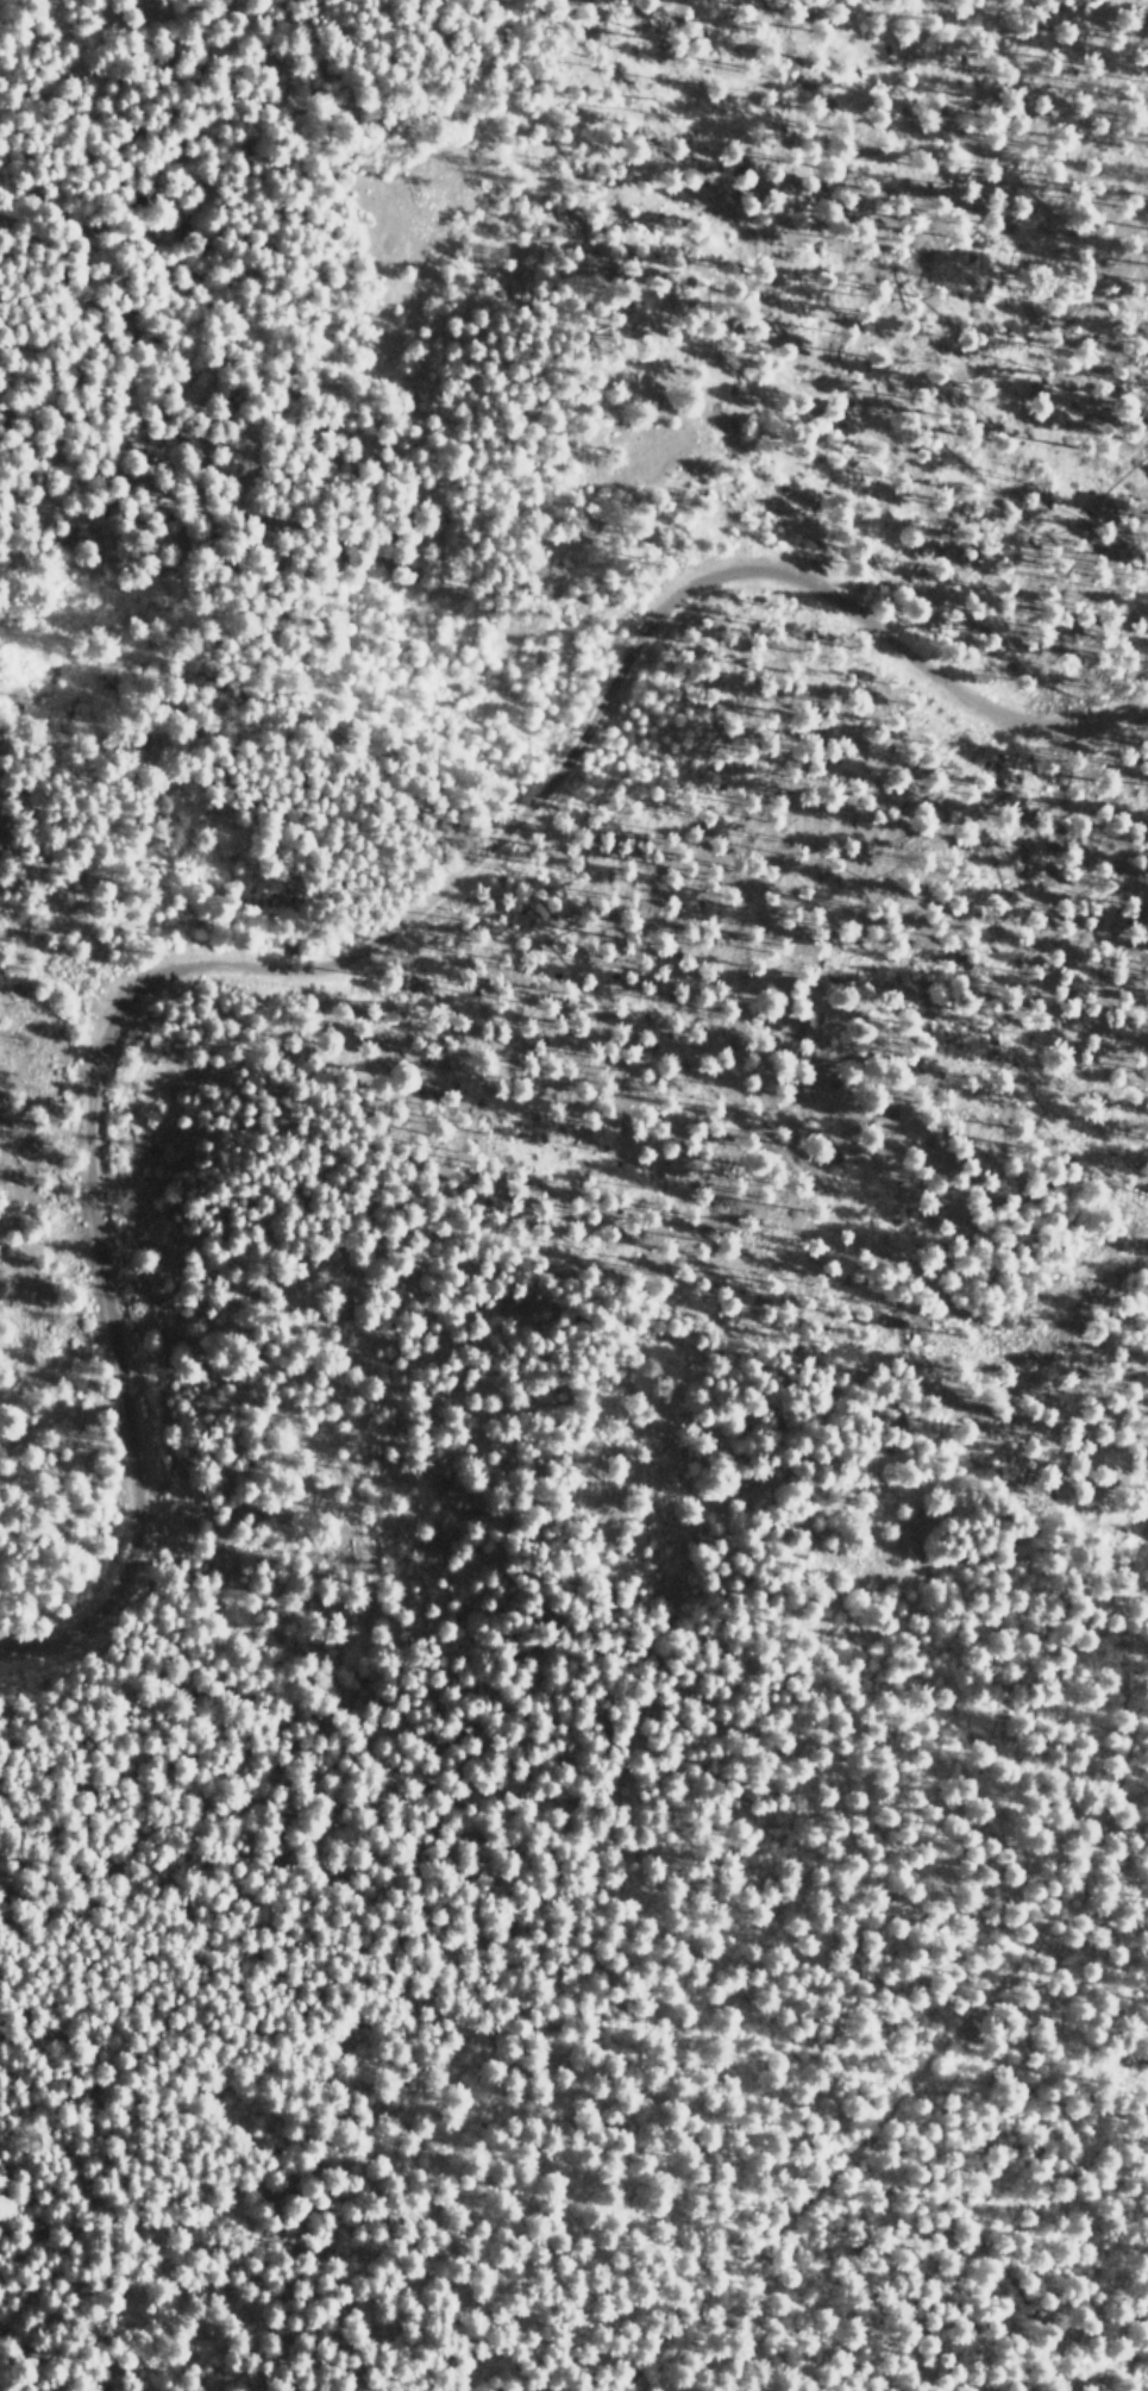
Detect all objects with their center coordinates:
road: (368, 952)
road: (981, 2003)

